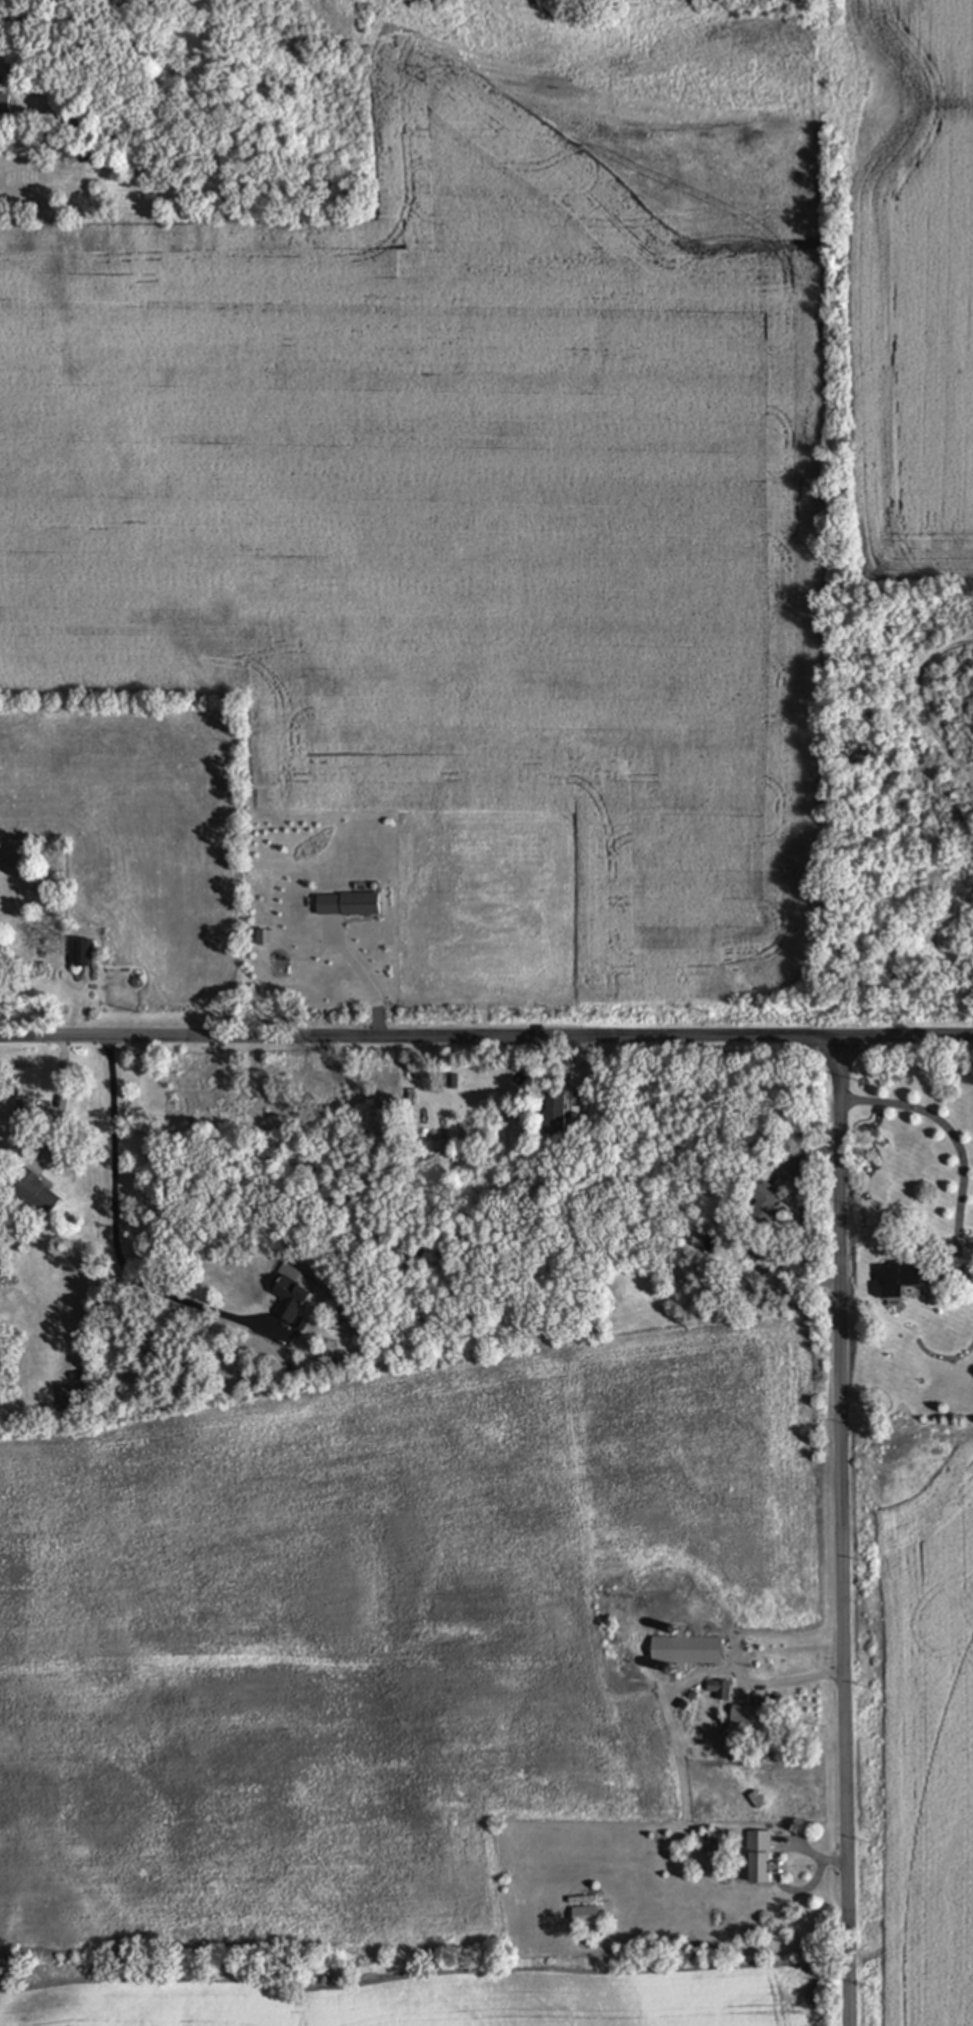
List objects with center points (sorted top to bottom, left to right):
building: (5, 104)
building: (85, 955)
road: (359, 974)
road: (486, 1038)
road: (60, 1105)
building: (24, 1109)
building: (556, 1117)
road: (950, 1134)
building: (35, 1195)
building: (767, 1205)
road: (116, 1241)
building: (900, 1285)
building: (291, 1300)
road: (843, 1531)
building: (687, 1651)
road: (794, 1682)
building: (721, 1690)
building: (755, 1721)
building: (759, 1857)
building: (586, 1917)

